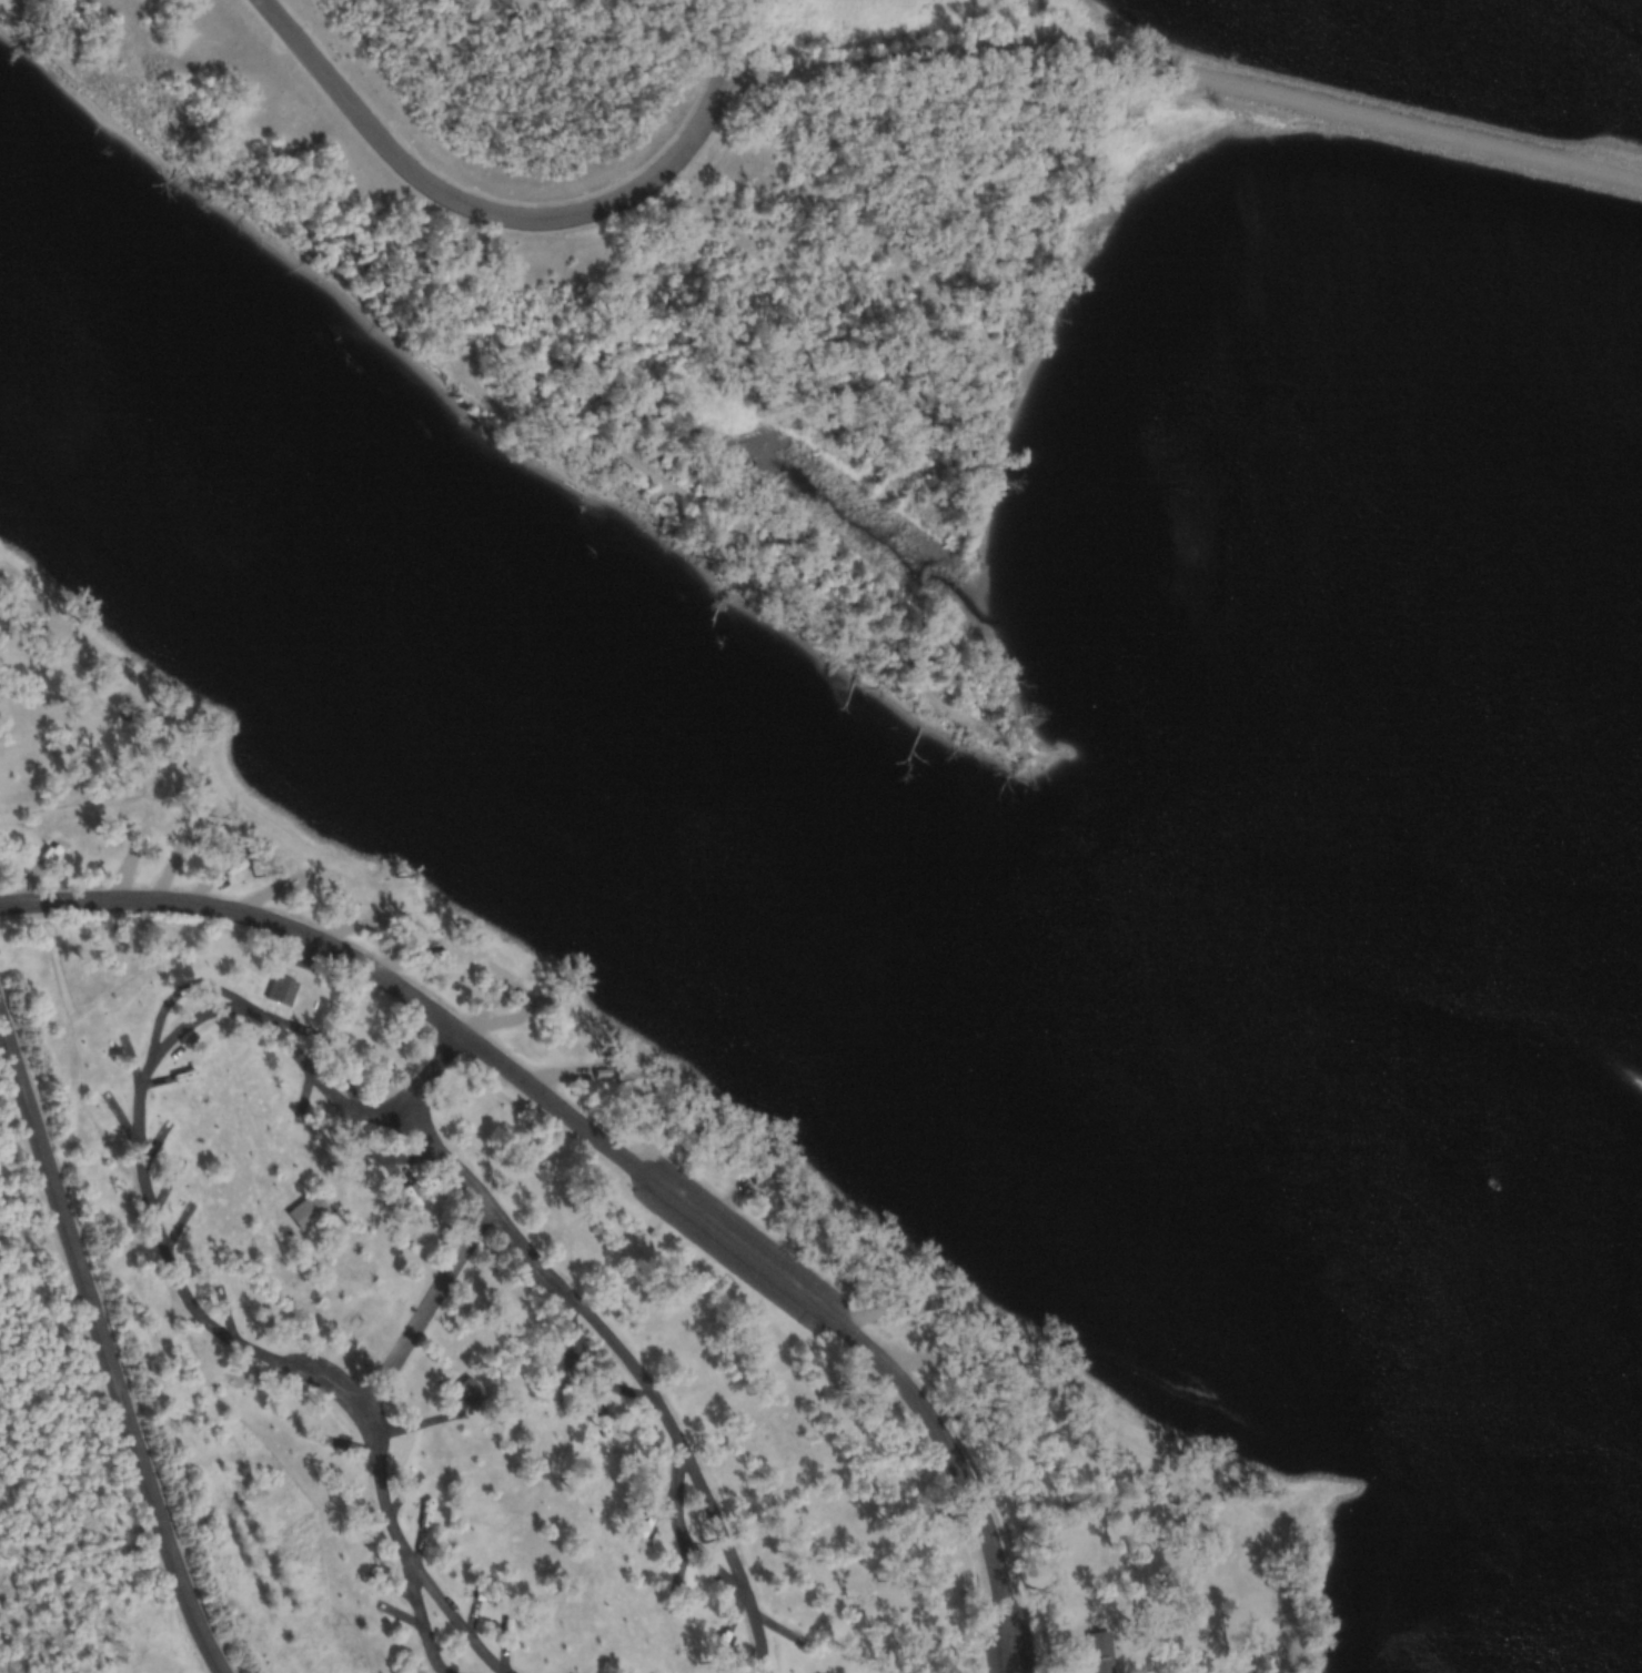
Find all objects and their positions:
road: (1188, 70)
road: (521, 215)
road: (255, 1015)
road: (432, 1072)
road: (612, 1148)
building: (302, 1210)
road: (421, 1308)
road: (107, 1341)
building: (462, 1389)
building: (1096, 1652)

